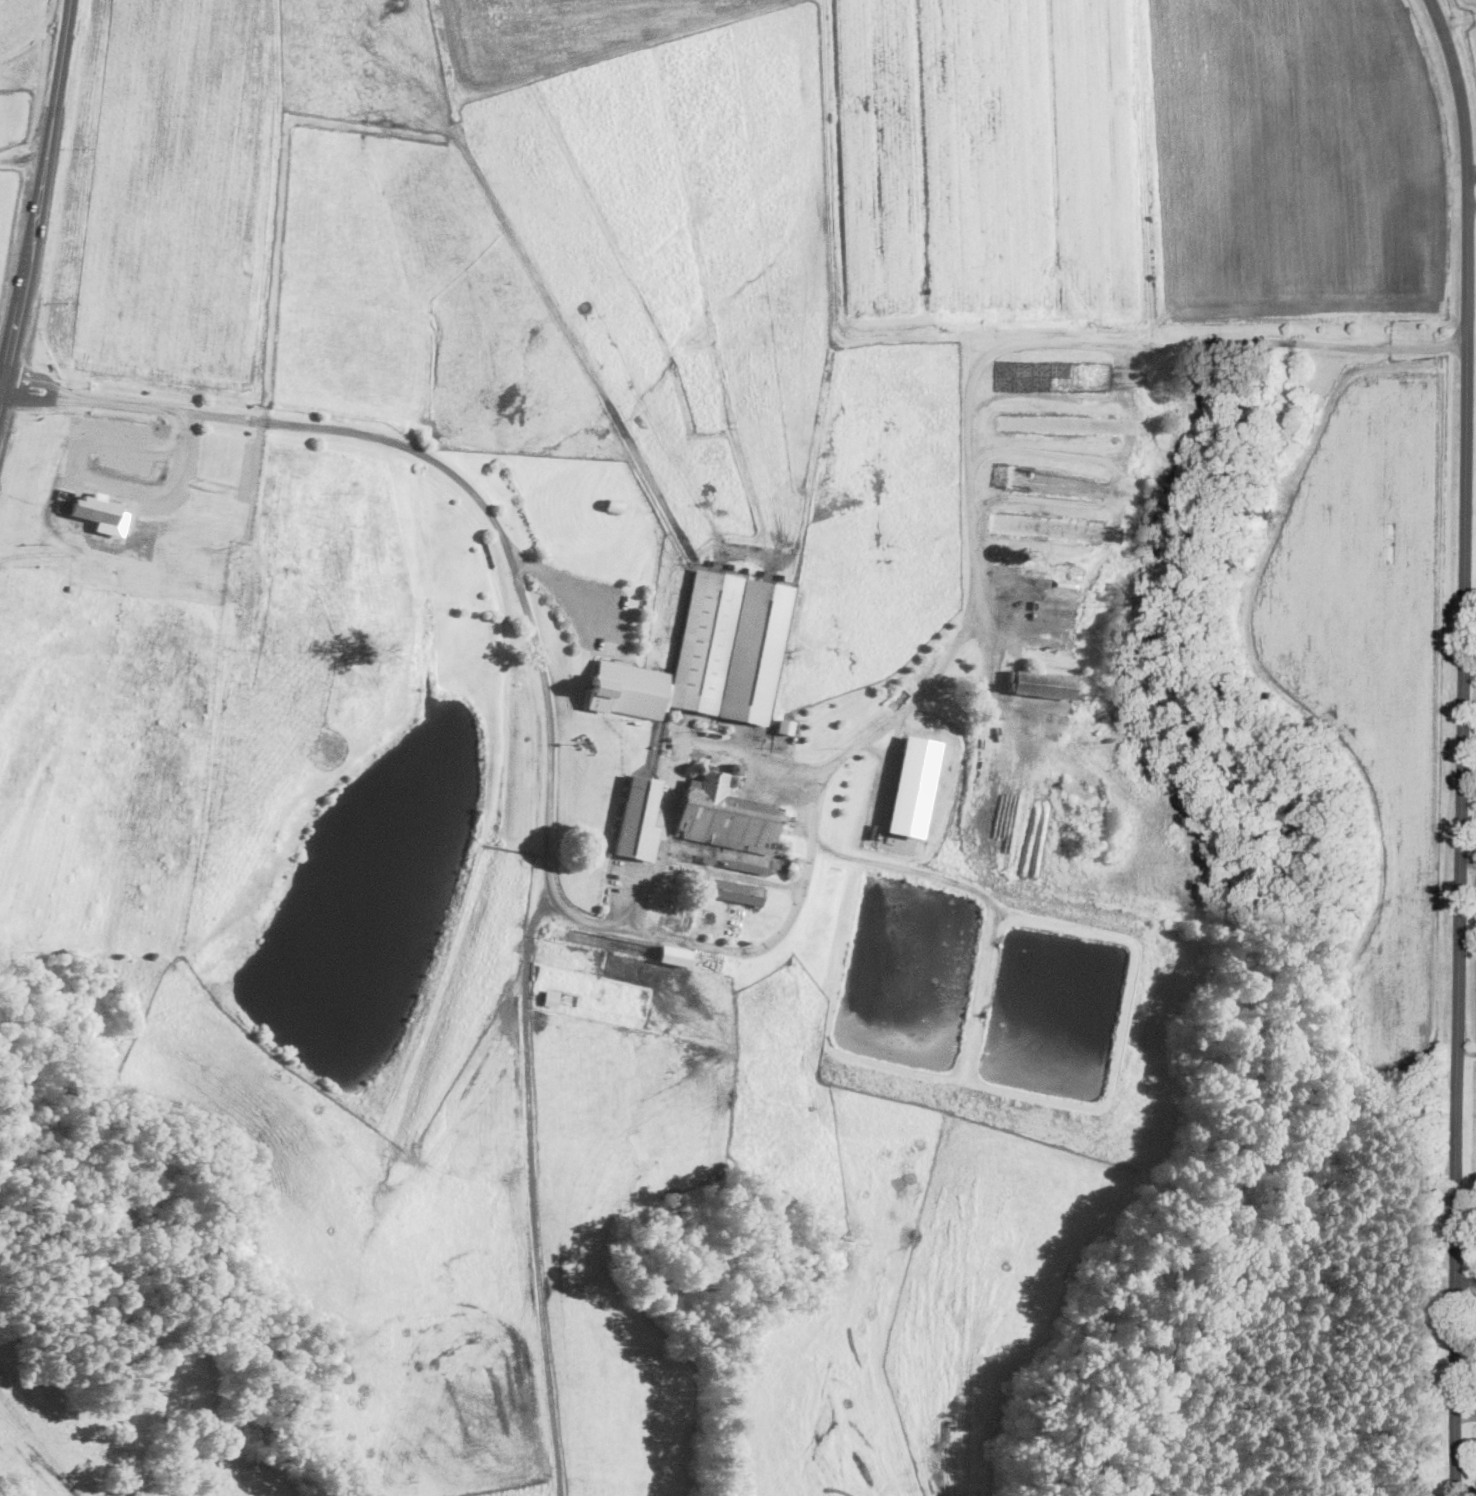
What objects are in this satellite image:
road: (23, 159)
road: (1472, 174)
road: (39, 200)
road: (1472, 203)
road: (6, 333)
road: (1, 388)
road: (88, 486)
building: (614, 503)
building: (99, 511)
road: (554, 577)
road: (1470, 622)
building: (755, 651)
building: (679, 657)
building: (1042, 684)
building: (785, 726)
road: (1462, 745)
crop: (721, 746)
building: (705, 763)
building: (709, 764)
building: (713, 765)
building: (717, 766)
road: (678, 768)
building: (733, 768)
building: (731, 780)
building: (912, 786)
building: (724, 815)
building: (637, 817)
building: (720, 861)
road: (1468, 861)
road: (905, 867)
building: (736, 891)
road: (773, 941)
road: (529, 946)
building: (675, 955)
building: (551, 996)
road: (1467, 1050)
road: (1466, 1362)

